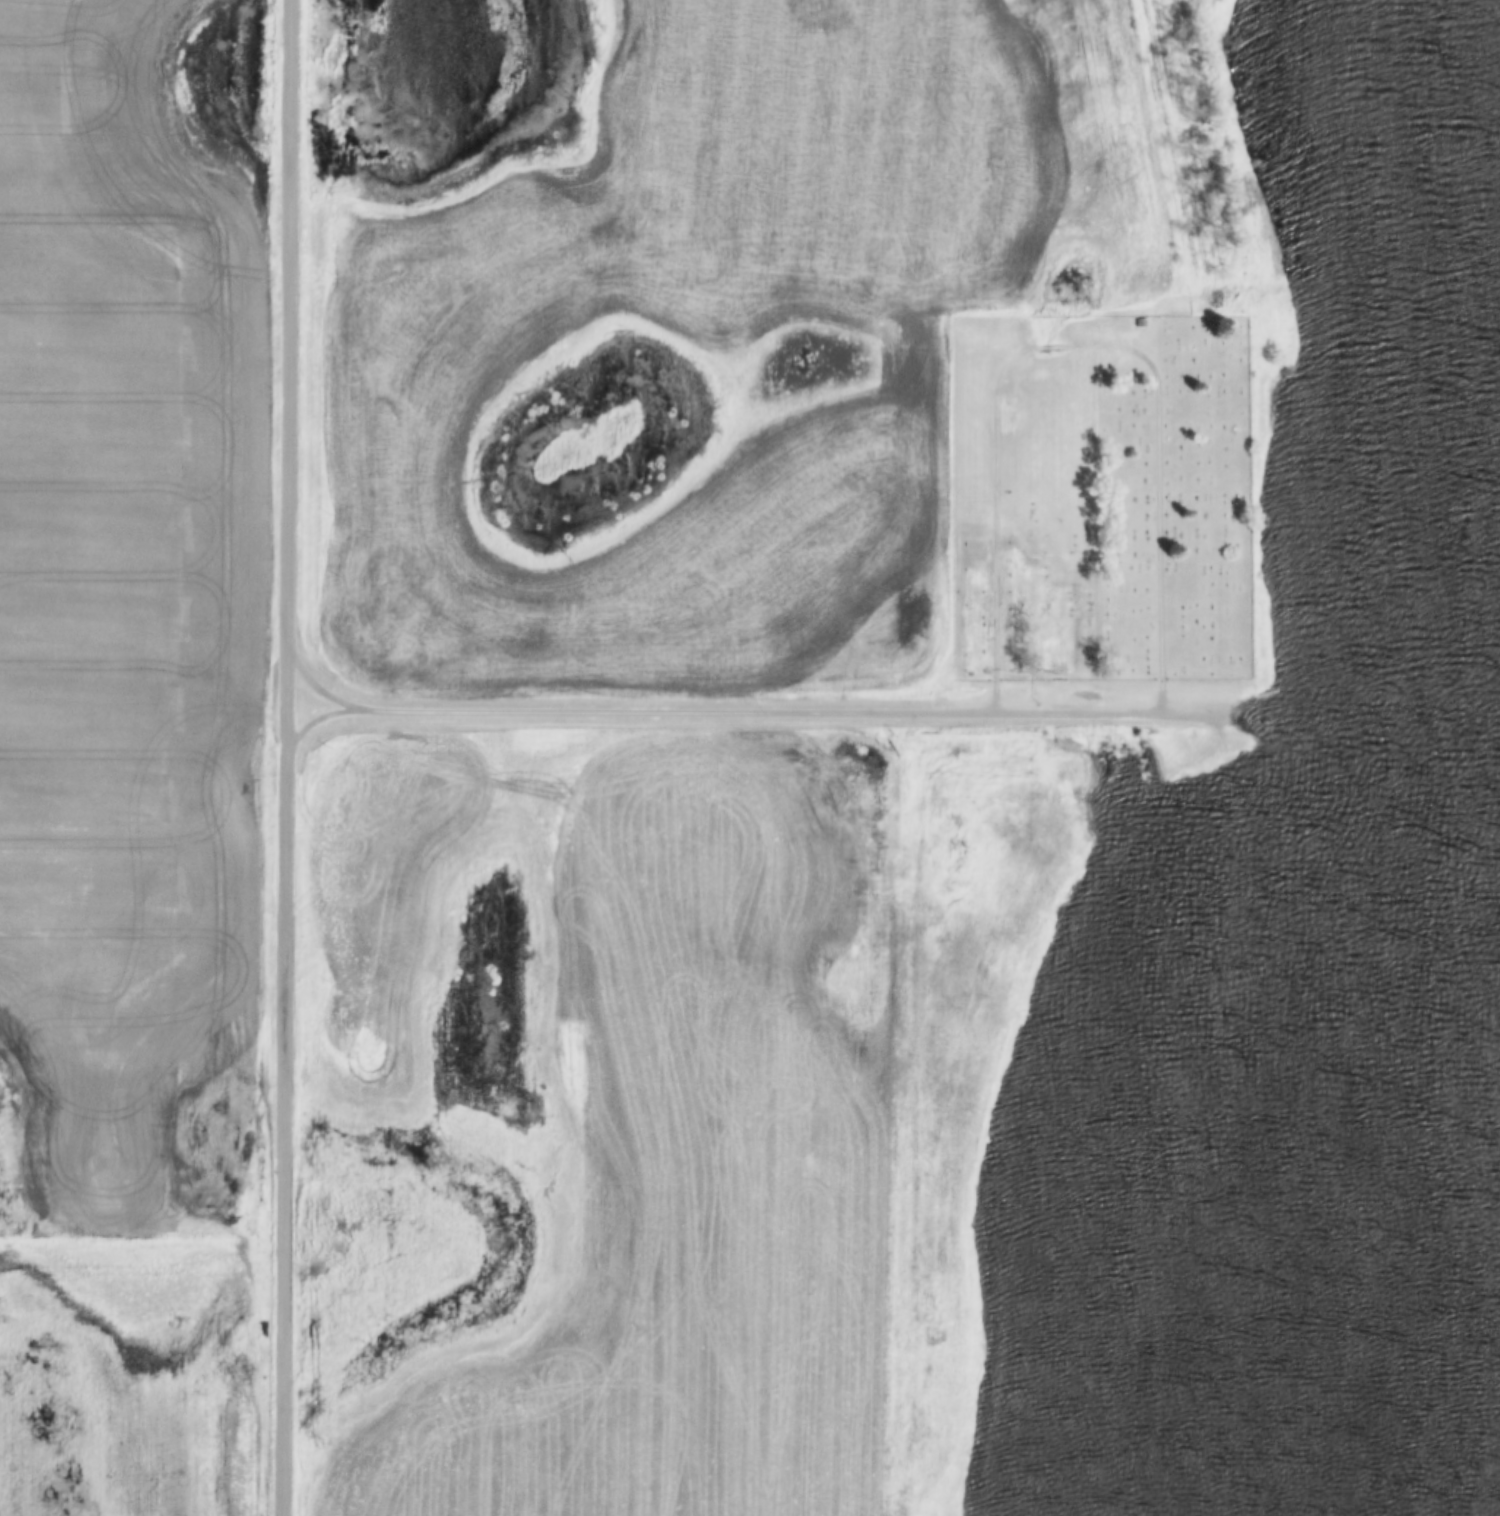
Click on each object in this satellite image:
road: (1080, 346)
road: (789, 712)
road: (283, 757)

